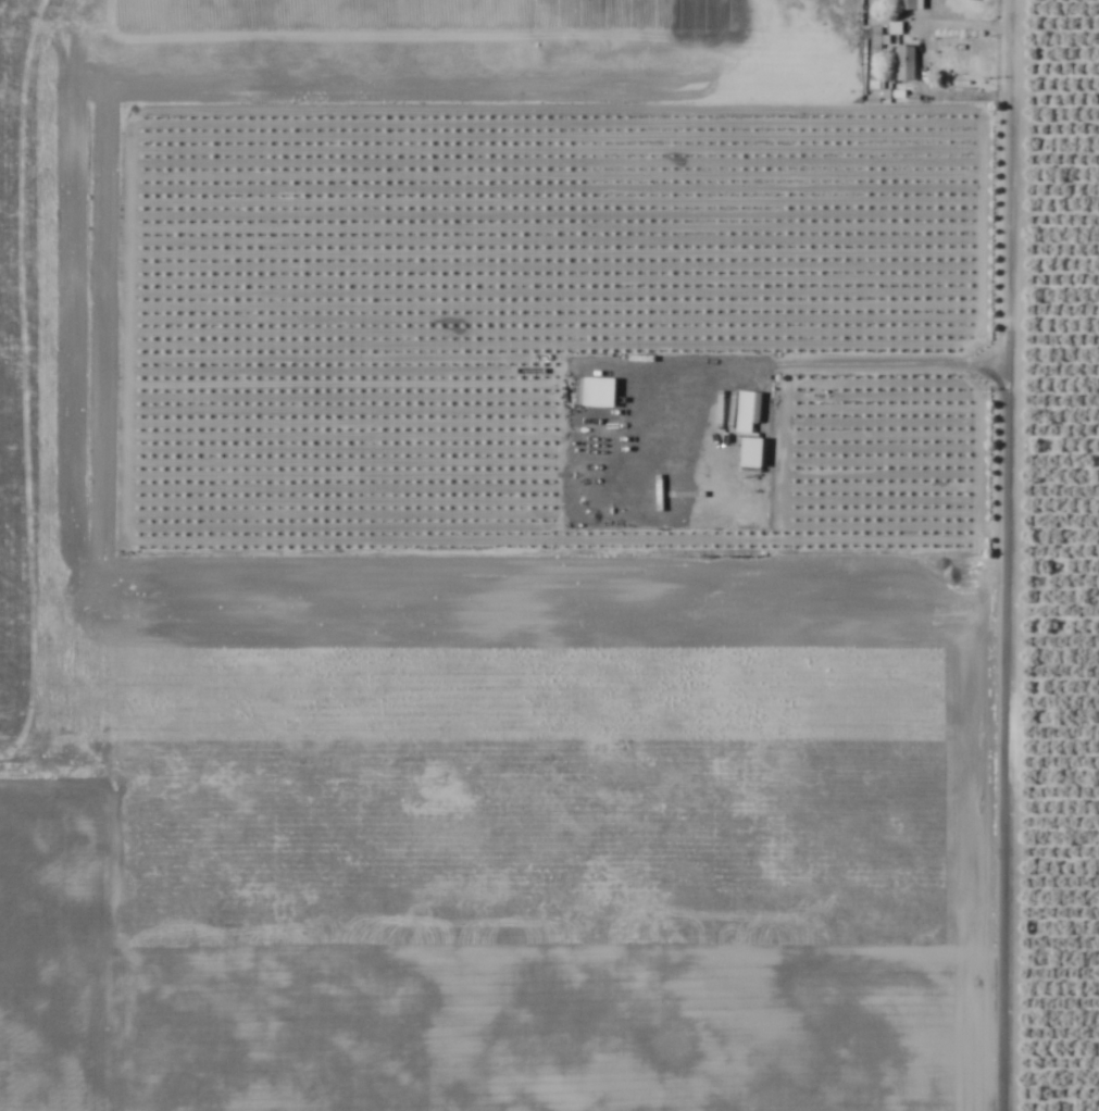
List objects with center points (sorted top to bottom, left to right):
road: (963, 25)
building: (903, 63)
building: (750, 451)
road: (1016, 554)

